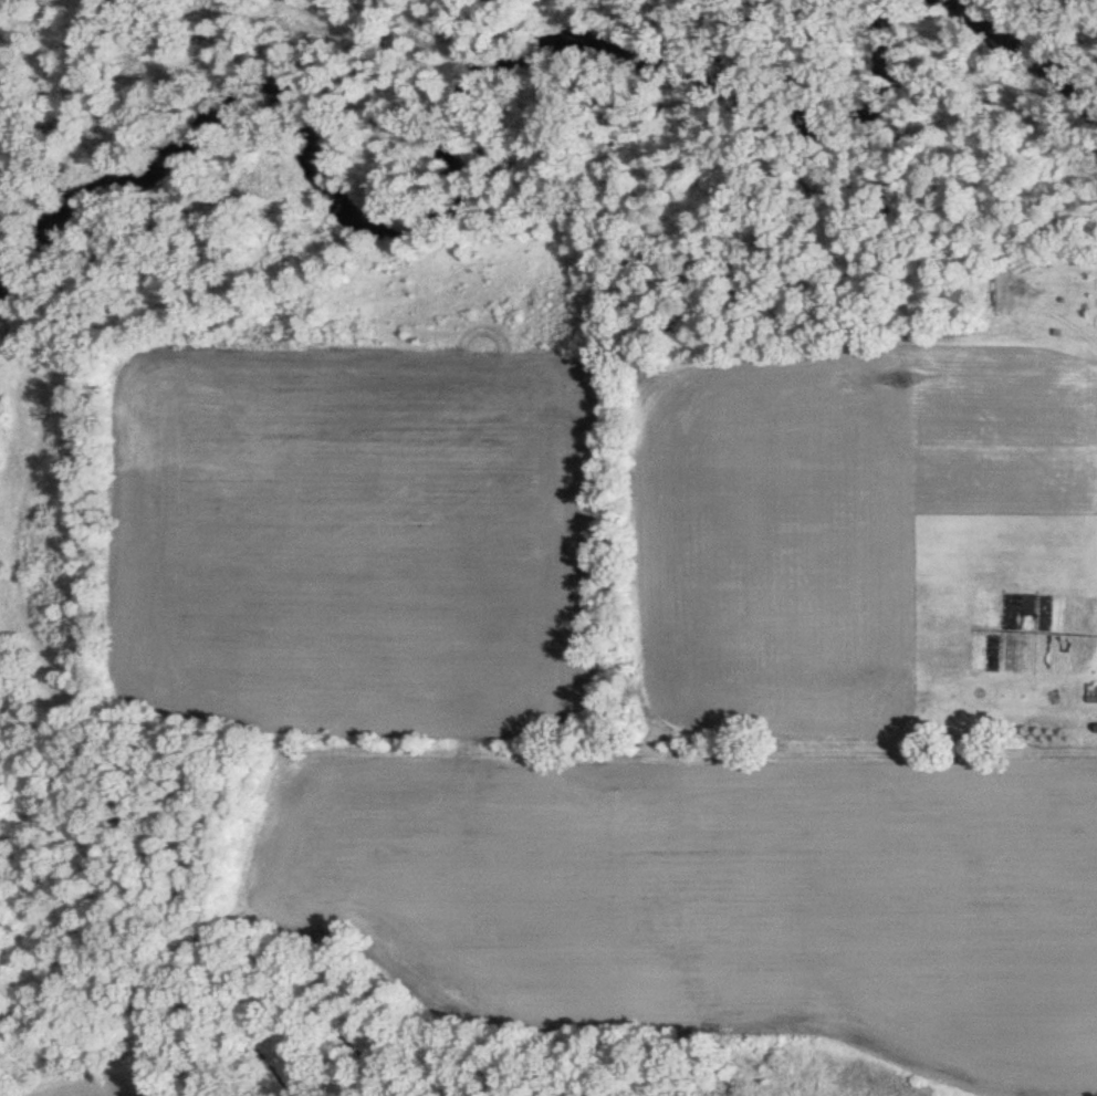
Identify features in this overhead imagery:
building: (1091, 693)

